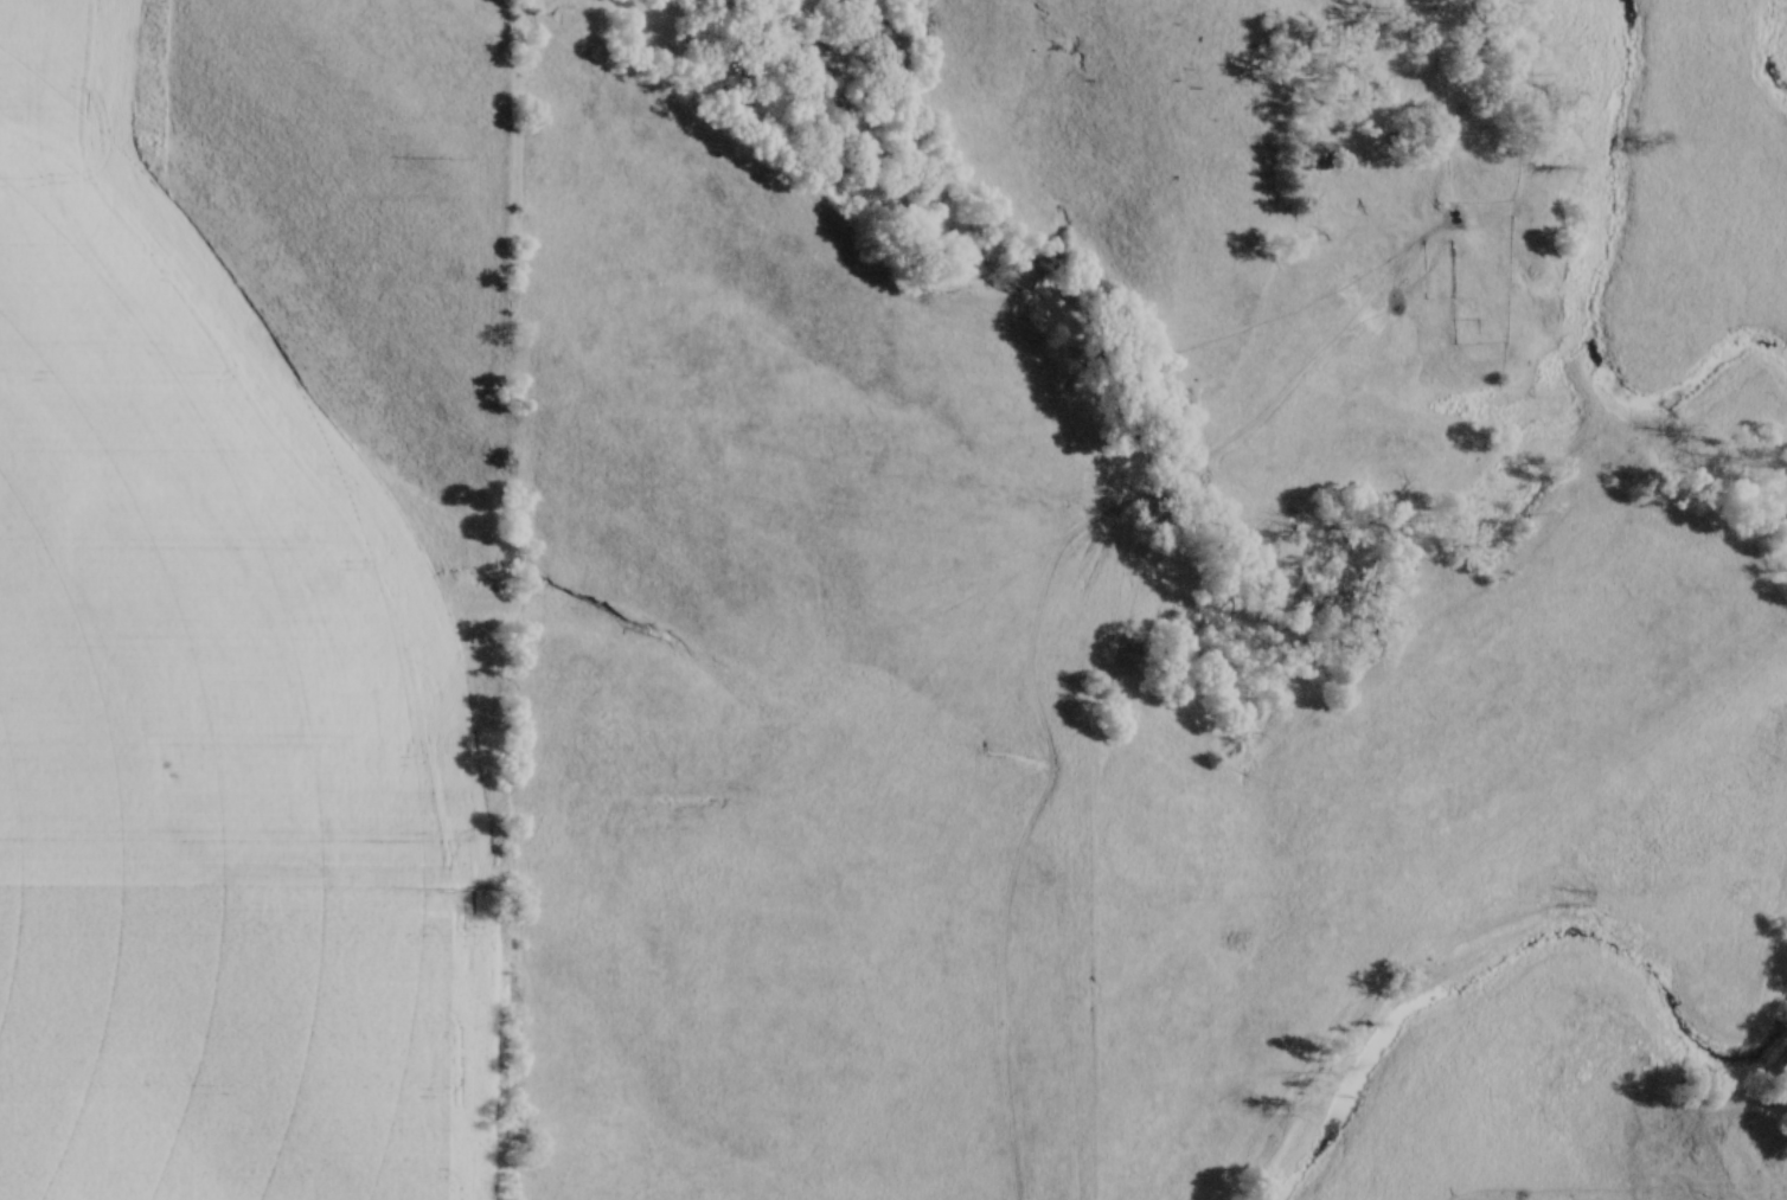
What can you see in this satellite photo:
river: (1768, 49)
building: (1322, 155)
power tower: (441, 159)
river: (1590, 295)
power tower: (443, 891)
river: (1519, 951)

